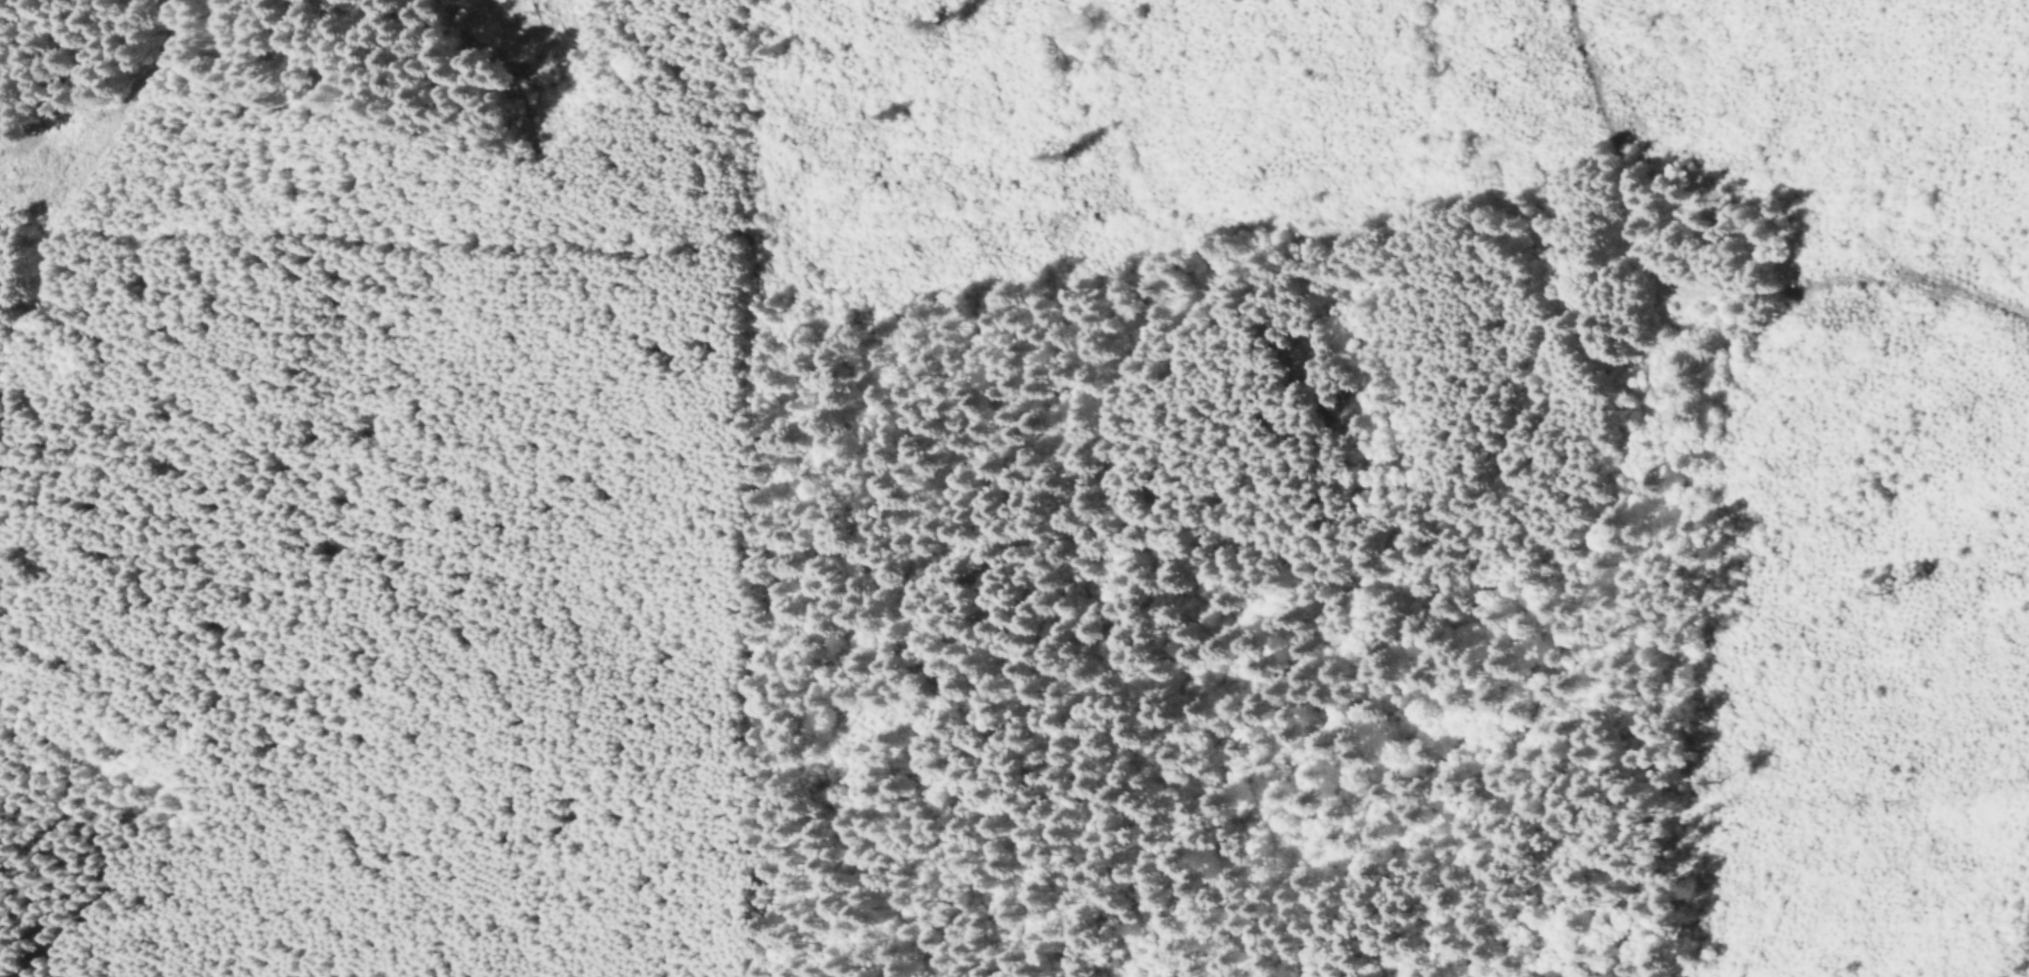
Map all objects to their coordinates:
road: (1608, 94)
road: (1193, 619)

